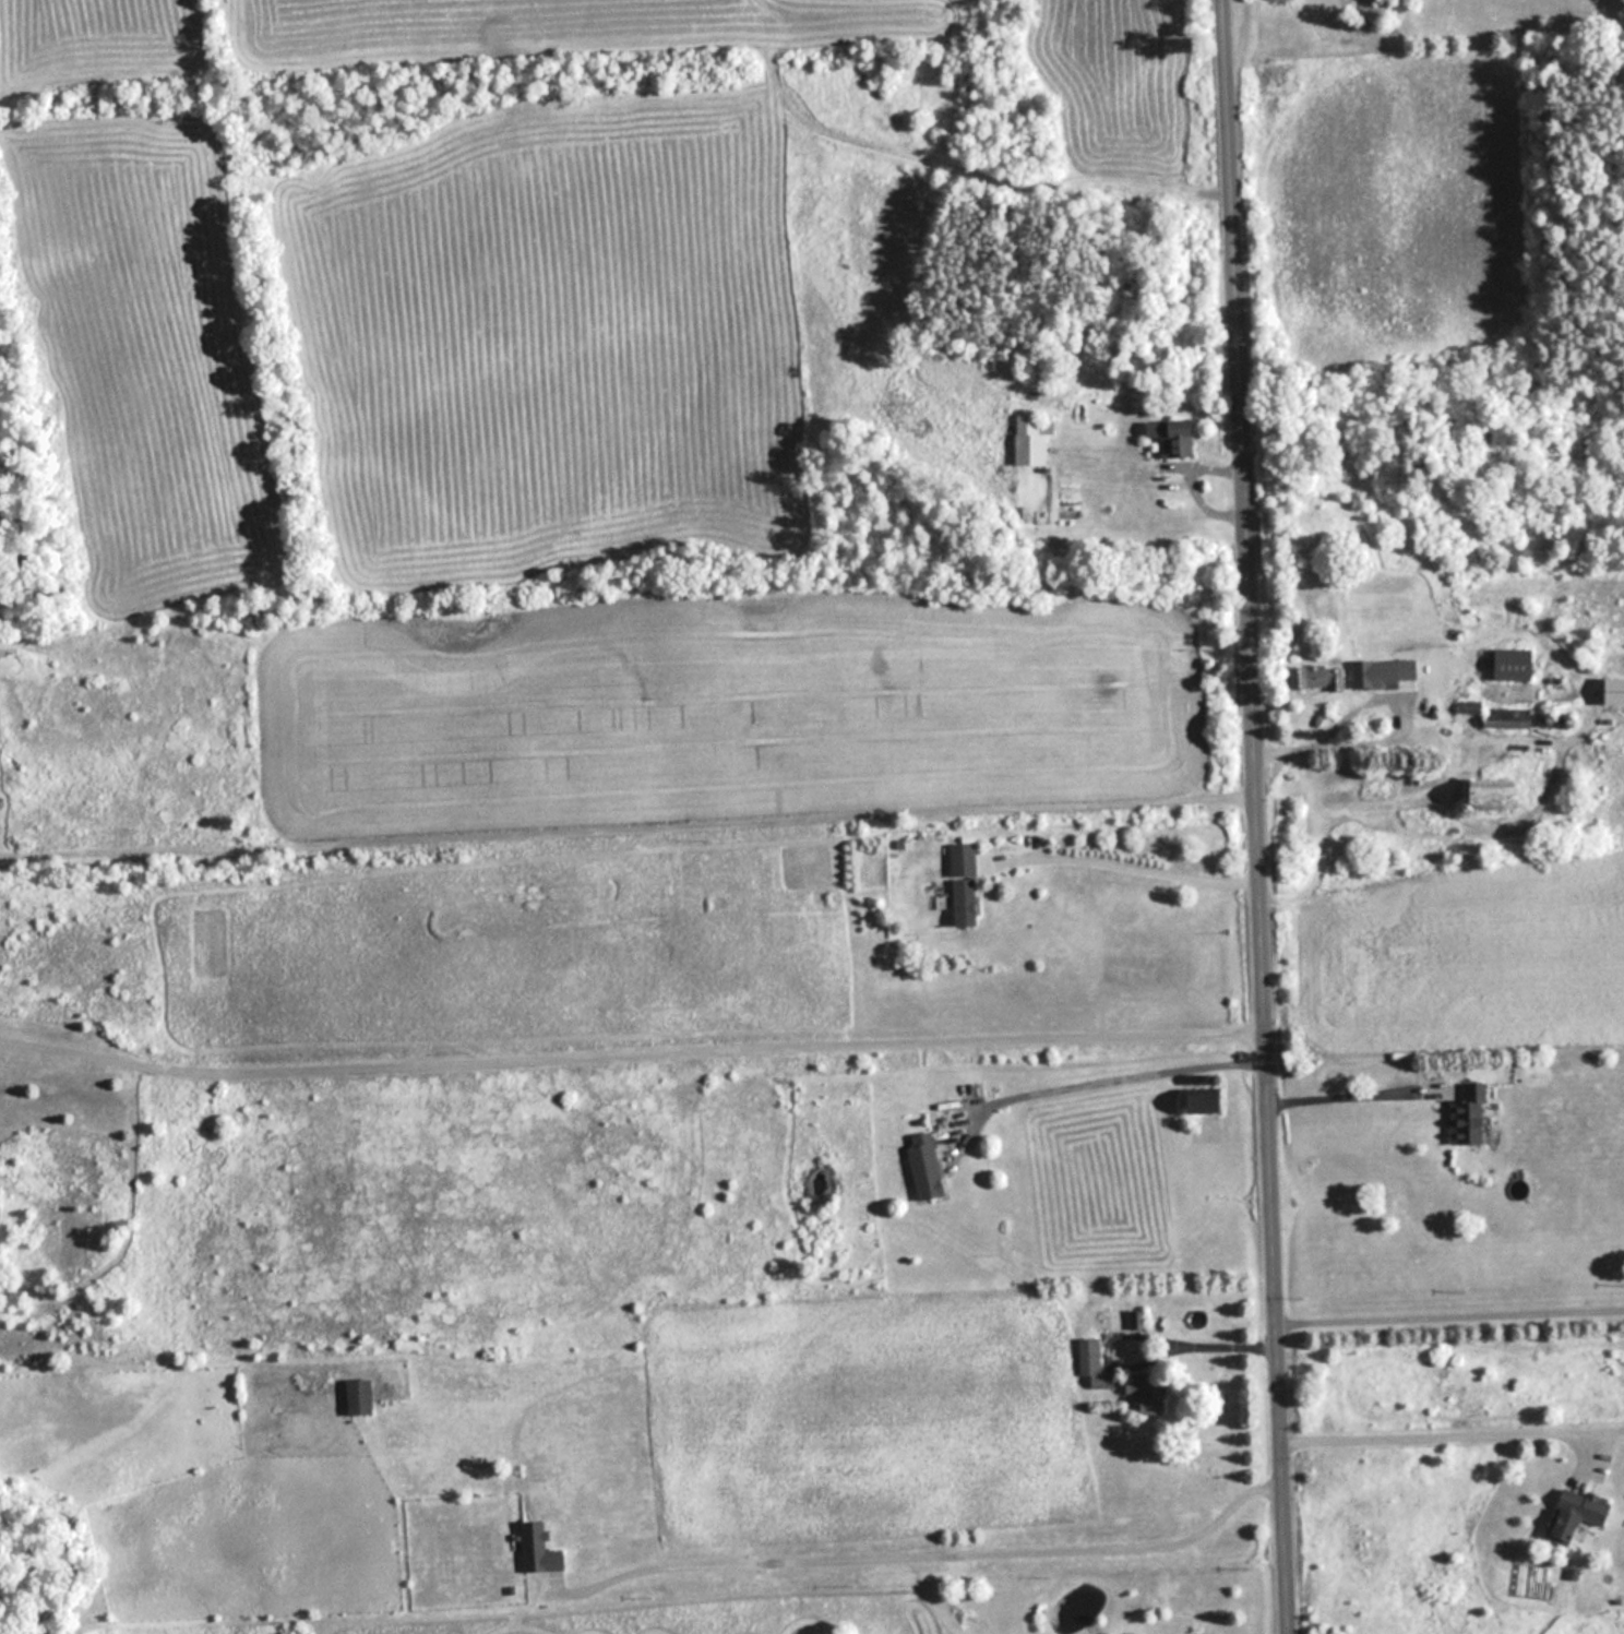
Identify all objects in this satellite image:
building: (1175, 438)
building: (1031, 440)
building: (1517, 665)
building: (1325, 678)
building: (1616, 692)
road: (1385, 738)
building: (1502, 795)
road: (1259, 816)
road: (629, 823)
road: (1136, 860)
building: (968, 885)
road: (633, 1046)
road: (1110, 1081)
road: (1357, 1086)
building: (1208, 1101)
building: (1472, 1116)
building: (928, 1167)
road: (1453, 1305)
road: (1147, 1328)
building: (1094, 1364)
building: (1150, 1393)
building: (361, 1398)
road: (1452, 1423)
building: (1578, 1513)
building: (542, 1549)
road: (940, 1549)

